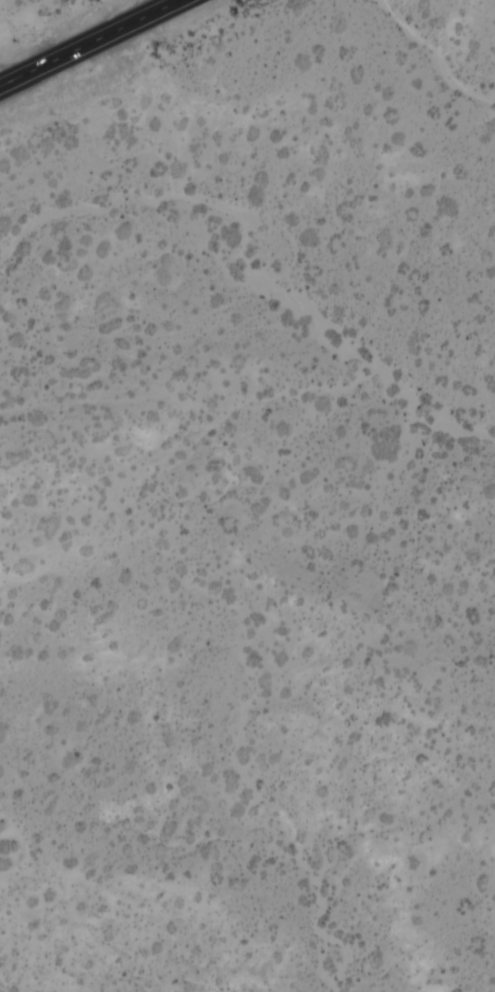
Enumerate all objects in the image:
road: (86, 41)

